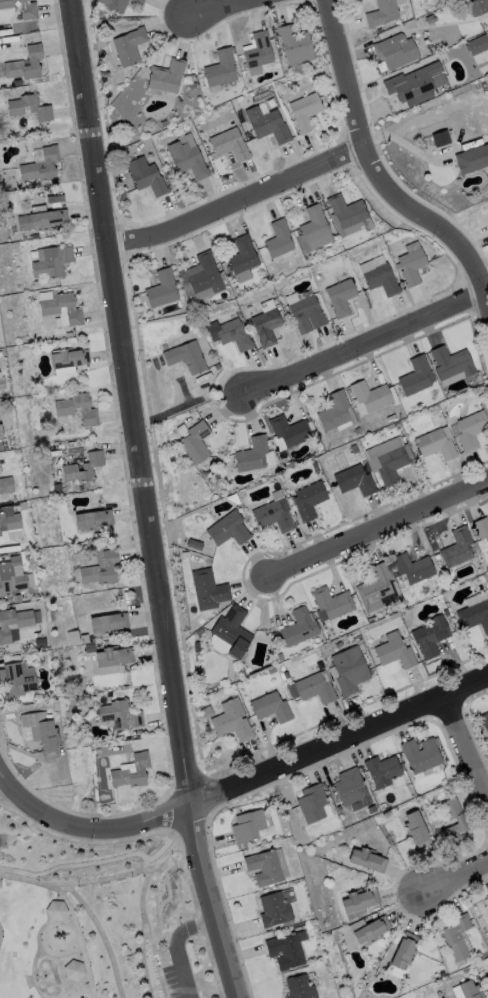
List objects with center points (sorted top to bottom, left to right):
building: (138, 1)
building: (114, 5)
building: (478, 7)
road: (231, 8)
building: (382, 13)
building: (30, 14)
building: (431, 19)
building: (277, 44)
building: (478, 45)
building: (295, 46)
building: (129, 47)
building: (259, 51)
building: (396, 52)
building: (18, 62)
building: (221, 69)
building: (166, 77)
building: (413, 85)
building: (192, 86)
building: (30, 107)
building: (305, 112)
building: (163, 124)
building: (267, 125)
building: (435, 141)
building: (230, 145)
building: (477, 158)
building: (187, 160)
building: (42, 166)
road: (375, 166)
building: (146, 177)
building: (2, 187)
building: (51, 199)
road: (241, 205)
building: (487, 207)
building: (347, 211)
building: (487, 220)
building: (43, 221)
building: (13, 229)
building: (315, 229)
building: (35, 237)
building: (278, 240)
building: (242, 256)
building: (53, 263)
building: (412, 267)
building: (205, 276)
building: (381, 280)
building: (162, 290)
building: (341, 297)
building: (50, 311)
building: (235, 314)
building: (306, 315)
building: (266, 327)
building: (69, 335)
building: (230, 335)
road: (368, 346)
building: (0, 354)
building: (69, 358)
building: (186, 358)
building: (451, 363)
building: (63, 370)
building: (416, 376)
building: (371, 396)
road: (180, 405)
building: (65, 412)
building: (334, 412)
building: (400, 416)
building: (391, 419)
building: (291, 431)
building: (357, 431)
building: (471, 431)
building: (1, 434)
building: (89, 441)
building: (195, 443)
building: (436, 445)
building: (0, 447)
building: (354, 449)
building: (252, 455)
building: (392, 465)
building: (315, 467)
building: (84, 468)
building: (355, 481)
building: (6, 485)
building: (57, 488)
building: (215, 497)
building: (234, 499)
road: (148, 500)
building: (309, 500)
building: (274, 516)
building: (94, 520)
building: (9, 522)
building: (482, 529)
building: (228, 530)
road: (380, 531)
building: (194, 545)
building: (457, 549)
building: (185, 554)
building: (109, 567)
building: (413, 568)
building: (11, 577)
building: (486, 579)
building: (375, 588)
building: (208, 590)
building: (332, 603)
building: (222, 613)
building: (446, 613)
building: (475, 616)
building: (408, 617)
building: (371, 620)
building: (109, 624)
building: (4, 627)
building: (299, 627)
building: (232, 631)
building: (261, 633)
building: (430, 636)
building: (84, 639)
building: (358, 640)
building: (340, 643)
building: (197, 647)
building: (90, 648)
building: (395, 654)
building: (114, 657)
building: (320, 665)
building: (271, 671)
building: (350, 671)
building: (16, 681)
building: (126, 688)
building: (205, 688)
building: (315, 689)
building: (270, 708)
building: (207, 713)
building: (90, 715)
building: (120, 715)
building: (9, 717)
building: (232, 721)
building: (484, 721)
building: (43, 733)
road: (338, 744)
road: (467, 749)
building: (98, 752)
building: (421, 755)
building: (124, 770)
building: (382, 771)
building: (351, 788)
road: (3, 790)
building: (312, 804)
building: (280, 812)
building: (463, 822)
building: (248, 826)
road: (87, 829)
building: (417, 830)
parking lot: (3, 840)
building: (368, 860)
road: (77, 863)
building: (264, 868)
road: (130, 873)
road: (456, 879)
road: (28, 882)
building: (487, 898)
building: (360, 901)
building: (54, 910)
building: (274, 910)
park: (86, 914)
building: (372, 931)
park: (0, 933)
road: (100, 934)
road: (142, 934)
building: (455, 937)
road: (78, 940)
road: (174, 947)
building: (404, 951)
building: (286, 952)
road: (154, 959)
building: (72, 970)
parking lot: (168, 972)
building: (487, 974)
building: (299, 987)
building: (469, 990)

